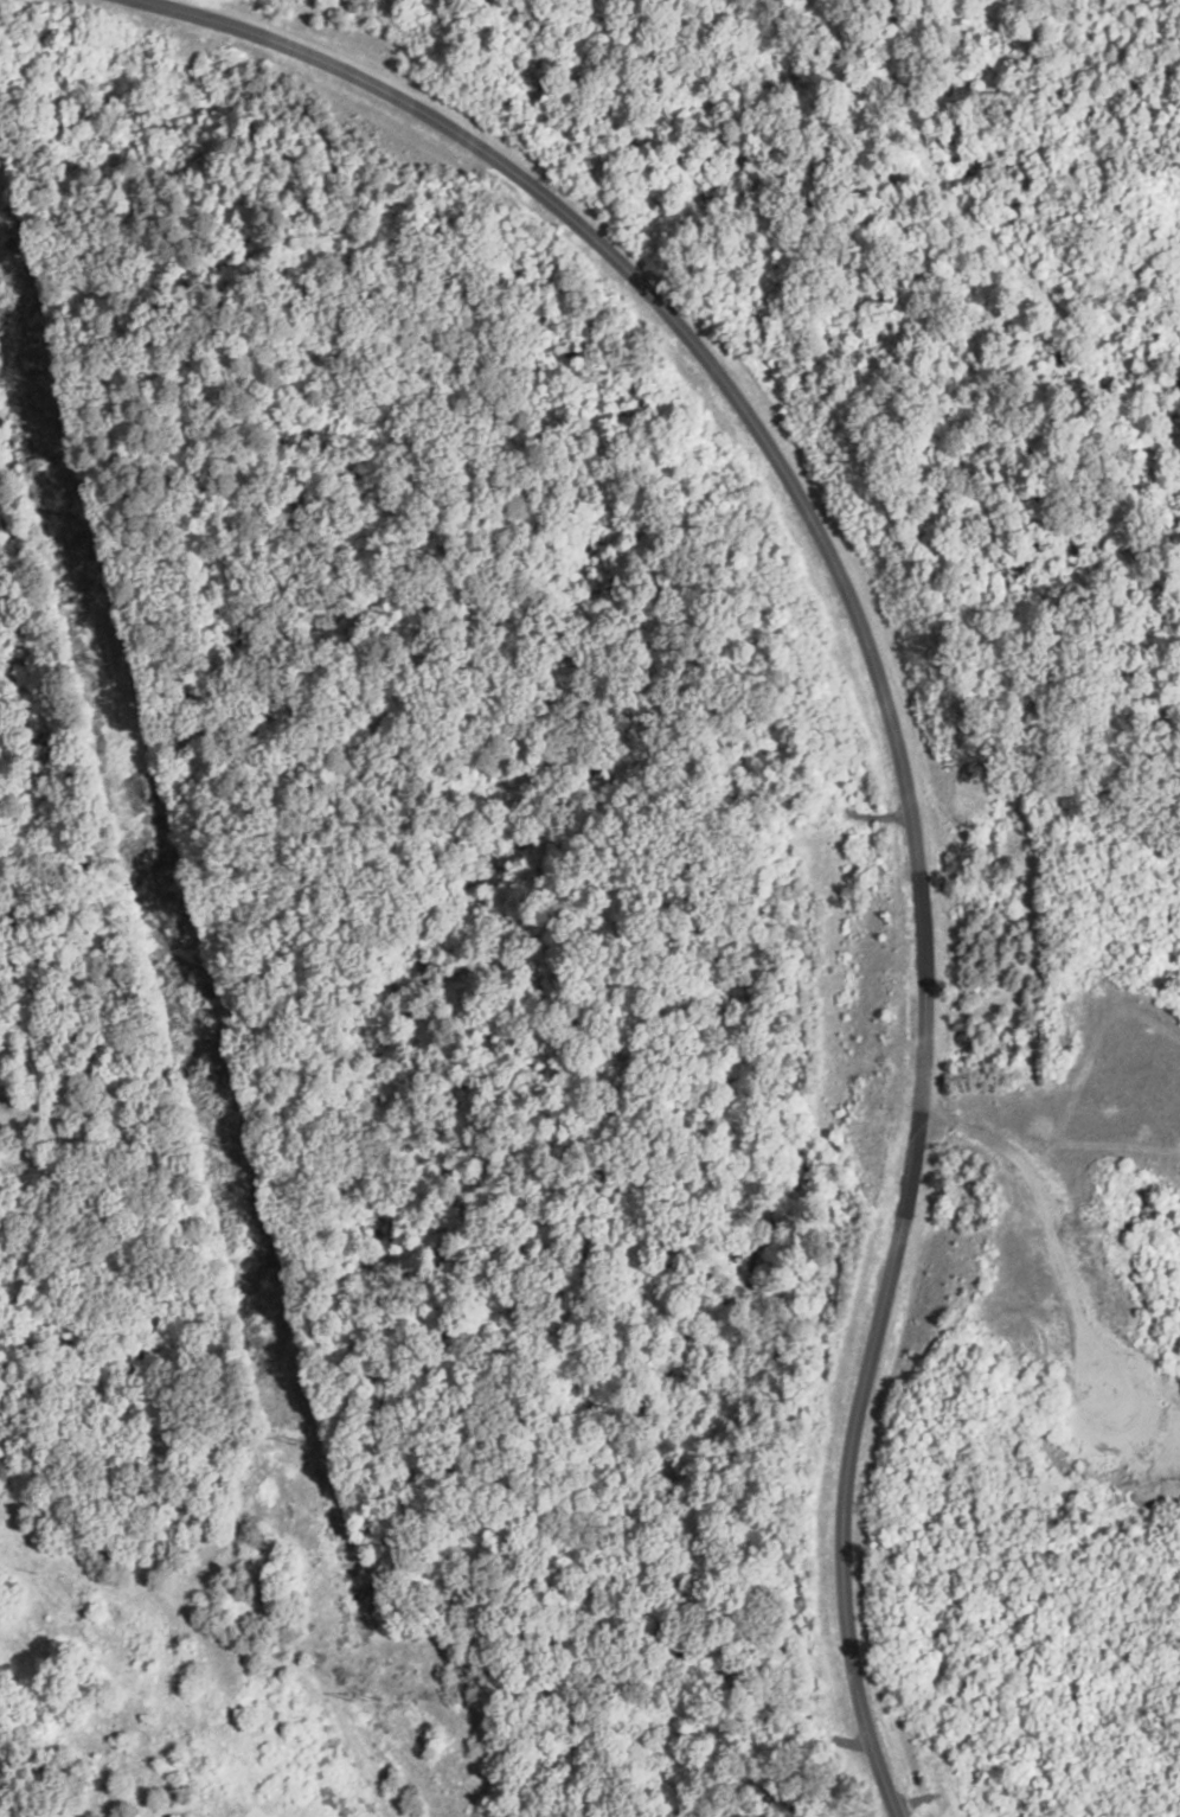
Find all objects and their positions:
road: (889, 734)
building: (5, 1469)
road: (224, 1644)

